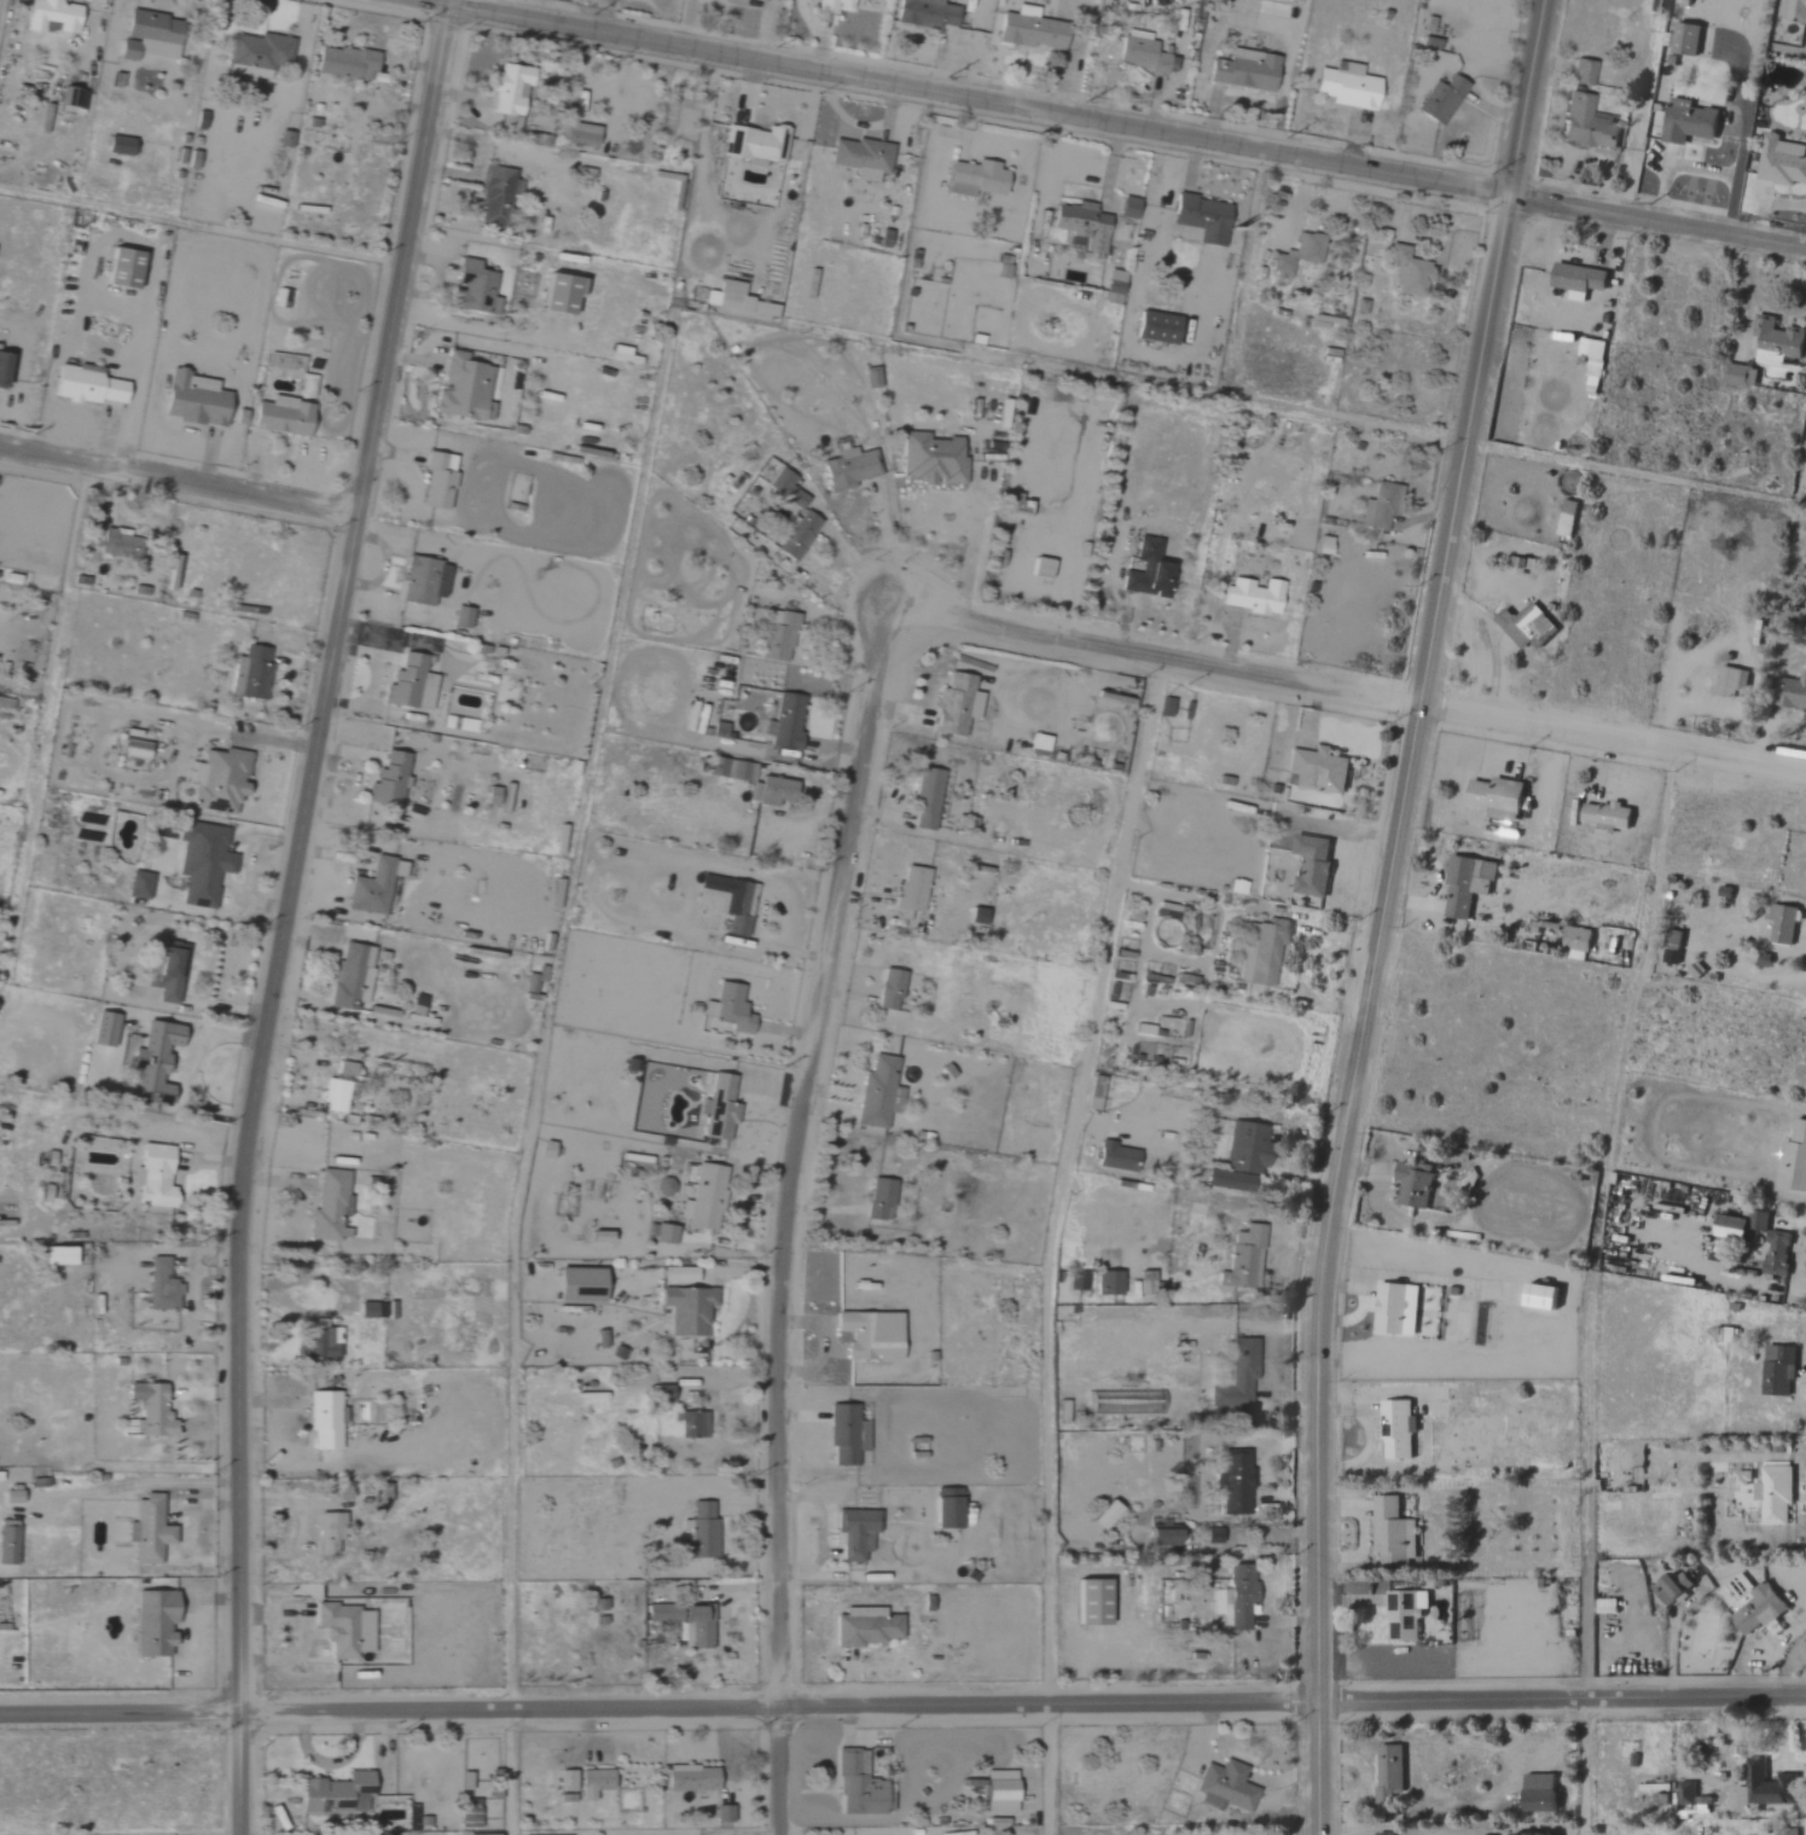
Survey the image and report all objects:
building: (774, 0)
building: (832, 6)
building: (1793, 11)
building: (924, 13)
building: (51, 14)
building: (1028, 30)
building: (147, 35)
building: (1684, 40)
building: (1143, 53)
building: (256, 54)
building: (344, 63)
building: (1243, 70)
building: (1581, 72)
building: (1345, 86)
road: (966, 93)
building: (509, 94)
road: (1522, 94)
building: (71, 100)
building: (1439, 100)
building: (1686, 122)
building: (753, 144)
building: (117, 145)
building: (860, 157)
building: (1781, 162)
building: (975, 179)
building: (495, 194)
building: (1126, 207)
road: (1656, 216)
building: (1201, 217)
building: (1078, 220)
road: (198, 227)
building: (1297, 254)
building: (120, 267)
building: (1407, 272)
building: (1575, 279)
building: (1113, 286)
building: (474, 288)
building: (557, 292)
building: (731, 296)
building: (762, 308)
building: (1155, 327)
building: (1775, 342)
building: (617, 353)
building: (1591, 359)
building: (1, 367)
building: (1740, 374)
building: (87, 387)
building: (461, 388)
building: (192, 399)
building: (280, 417)
building: (930, 459)
building: (847, 469)
road: (178, 475)
building: (436, 481)
building: (785, 488)
building: (1381, 504)
building: (1566, 518)
building: (796, 535)
building: (118, 545)
building: (1322, 545)
road: (893, 551)
building: (1145, 570)
building: (422, 581)
building: (1250, 596)
building: (460, 617)
building: (1525, 626)
building: (777, 635)
road: (1143, 648)
building: (254, 672)
building: (1730, 681)
building: (408, 684)
building: (1792, 693)
building: (954, 704)
building: (784, 722)
road: (1610, 733)
building: (1036, 744)
building: (1316, 770)
building: (738, 772)
building: (389, 778)
building: (217, 779)
building: (772, 791)
building: (1493, 797)
building: (924, 799)
building: (1604, 815)
building: (201, 863)
building: (1310, 864)
building: (137, 884)
building: (1464, 884)
building: (372, 887)
building: (908, 892)
building: (727, 900)
road: (285, 912)
building: (1782, 924)
building: (1575, 943)
building: (1265, 952)
building: (1668, 956)
building: (164, 971)
building: (350, 976)
building: (888, 989)
road: (1358, 1006)
building: (726, 1009)
building: (103, 1029)
building: (150, 1063)
building: (345, 1069)
building: (877, 1093)
building: (1093, 1093)
building: (335, 1096)
building: (1245, 1149)
building: (1115, 1157)
building: (1793, 1160)
building: (152, 1177)
building: (1224, 1181)
building: (1411, 1185)
building: (703, 1198)
building: (878, 1200)
building: (329, 1207)
building: (1758, 1221)
building: (1729, 1229)
road: (783, 1230)
building: (664, 1235)
road: (1047, 1236)
building: (1776, 1253)
building: (56, 1256)
building: (1244, 1260)
building: (676, 1274)
building: (1107, 1282)
building: (576, 1285)
building: (161, 1287)
building: (1538, 1297)
building: (686, 1310)
building: (1395, 1310)
building: (365, 1311)
building: (869, 1335)
building: (323, 1343)
building: (1777, 1370)
building: (1236, 1376)
building: (661, 1393)
building: (150, 1410)
building: (324, 1422)
building: (695, 1425)
building: (1395, 1429)
building: (844, 1435)
building: (1235, 1482)
building: (1769, 1493)
building: (8, 1497)
building: (945, 1509)
building: (1102, 1515)
building: (146, 1531)
building: (699, 1531)
building: (327, 1532)
building: (1392, 1532)
building: (855, 1534)
building: (1160, 1534)
building: (7, 1543)
building: (1672, 1587)
building: (1087, 1601)
building: (1756, 1610)
building: (1404, 1614)
building: (152, 1624)
building: (685, 1624)
building: (864, 1627)
building: (343, 1630)
road: (1561, 1694)
road: (657, 1705)
road: (1581, 1764)
building: (1387, 1769)
road: (509, 1771)
building: (565, 1779)
building: (690, 1779)
building: (592, 1782)
building: (1224, 1785)
building: (1767, 1785)
building: (859, 1787)
building: (999, 1790)
building: (1537, 1792)
building: (335, 1793)
building: (1689, 1794)
building: (1742, 1801)
building: (469, 1813)
building: (724, 1813)
road: (1370, 1829)
building: (1784, 1833)
building: (488, 1834)
building: (1383, 1834)
building: (1531, 1834)

